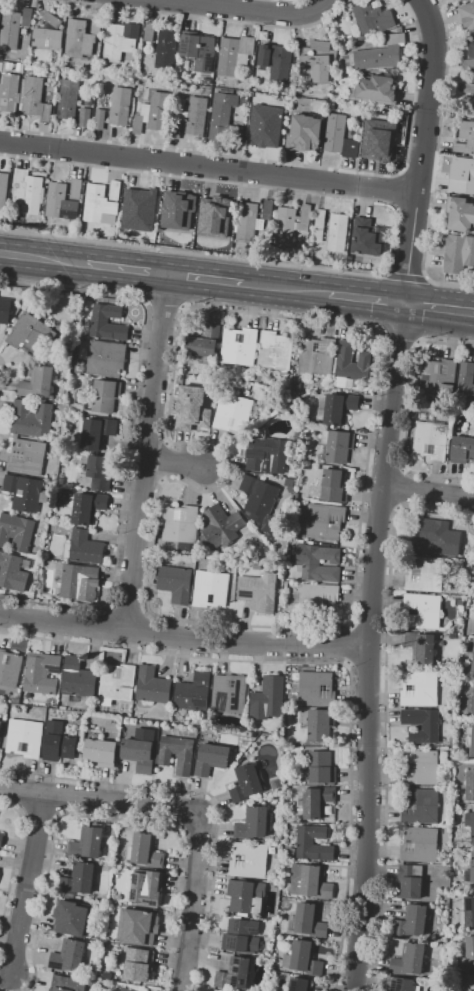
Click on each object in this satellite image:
building: (464, 0)
road: (238, 12)
building: (467, 15)
building: (373, 18)
building: (52, 20)
building: (14, 26)
building: (149, 31)
building: (81, 37)
building: (47, 38)
building: (120, 40)
building: (324, 47)
building: (471, 48)
building: (166, 49)
building: (198, 49)
building: (234, 54)
building: (380, 54)
building: (276, 62)
building: (468, 64)
building: (21, 67)
building: (315, 68)
building: (467, 88)
building: (377, 90)
building: (9, 92)
building: (34, 99)
building: (69, 99)
building: (121, 106)
building: (468, 106)
building: (153, 113)
building: (85, 117)
building: (191, 118)
building: (100, 119)
building: (225, 121)
building: (265, 126)
building: (304, 133)
building: (335, 133)
building: (465, 138)
building: (381, 142)
building: (350, 149)
road: (420, 151)
road: (207, 168)
building: (463, 176)
building: (4, 180)
building: (76, 188)
building: (27, 191)
building: (169, 198)
building: (207, 201)
building: (59, 202)
building: (101, 203)
building: (140, 204)
building: (267, 209)
building: (184, 214)
building: (460, 214)
building: (222, 218)
building: (247, 221)
building: (291, 224)
building: (319, 225)
building: (337, 232)
building: (367, 237)
building: (458, 253)
road: (194, 254)
road: (43, 258)
road: (127, 269)
road: (409, 277)
road: (450, 285)
road: (286, 289)
road: (164, 301)
building: (5, 310)
road: (439, 310)
building: (99, 321)
road: (321, 321)
building: (31, 334)
road: (400, 342)
building: (203, 344)
building: (238, 349)
building: (274, 350)
building: (316, 356)
building: (105, 358)
building: (351, 364)
building: (438, 377)
road: (4, 378)
building: (258, 378)
building: (37, 382)
building: (465, 382)
building: (61, 392)
building: (104, 394)
building: (196, 402)
building: (336, 408)
building: (232, 412)
road: (407, 412)
building: (31, 419)
building: (95, 432)
building: (295, 435)
road: (131, 437)
building: (430, 439)
building: (337, 445)
building: (462, 450)
road: (145, 452)
building: (266, 454)
building: (26, 457)
road: (174, 462)
road: (385, 469)
building: (97, 471)
building: (60, 482)
building: (334, 486)
road: (402, 489)
road: (427, 491)
building: (25, 493)
building: (258, 496)
building: (86, 507)
road: (380, 509)
building: (323, 522)
building: (179, 524)
building: (219, 527)
building: (16, 532)
building: (435, 538)
building: (83, 548)
building: (318, 562)
building: (12, 572)
building: (424, 574)
building: (79, 582)
building: (175, 583)
building: (285, 583)
building: (210, 589)
building: (258, 591)
building: (318, 600)
building: (458, 602)
road: (127, 609)
building: (421, 611)
road: (103, 626)
road: (368, 626)
road: (142, 630)
road: (182, 637)
building: (469, 645)
road: (349, 646)
road: (366, 647)
building: (419, 647)
road: (335, 662)
road: (367, 666)
building: (472, 666)
building: (9, 668)
building: (41, 673)
building: (76, 680)
building: (116, 683)
building: (151, 685)
building: (316, 688)
building: (419, 689)
building: (193, 692)
building: (228, 694)
building: (267, 698)
building: (471, 704)
road: (386, 712)
building: (0, 724)
building: (320, 725)
building: (430, 727)
building: (24, 738)
building: (59, 742)
building: (469, 742)
building: (100, 752)
building: (138, 754)
building: (163, 758)
building: (211, 759)
building: (321, 767)
building: (420, 767)
building: (246, 783)
building: (469, 786)
road: (22, 791)
road: (204, 793)
road: (59, 796)
building: (317, 801)
building: (419, 805)
road: (189, 810)
road: (110, 819)
building: (254, 823)
building: (470, 824)
building: (1, 839)
building: (87, 843)
building: (313, 844)
building: (418, 844)
building: (146, 851)
building: (248, 860)
road: (13, 865)
building: (469, 871)
building: (77, 880)
building: (309, 881)
building: (409, 881)
road: (27, 883)
building: (143, 890)
building: (245, 896)
building: (467, 913)
building: (74, 919)
building: (307, 921)
building: (411, 921)
building: (137, 927)
building: (241, 936)
building: (470, 951)
building: (69, 956)
building: (303, 958)
building: (409, 960)
building: (139, 964)
building: (273, 968)
building: (234, 974)
building: (468, 982)
building: (67, 983)
building: (299, 984)
building: (400, 984)
building: (130, 988)

